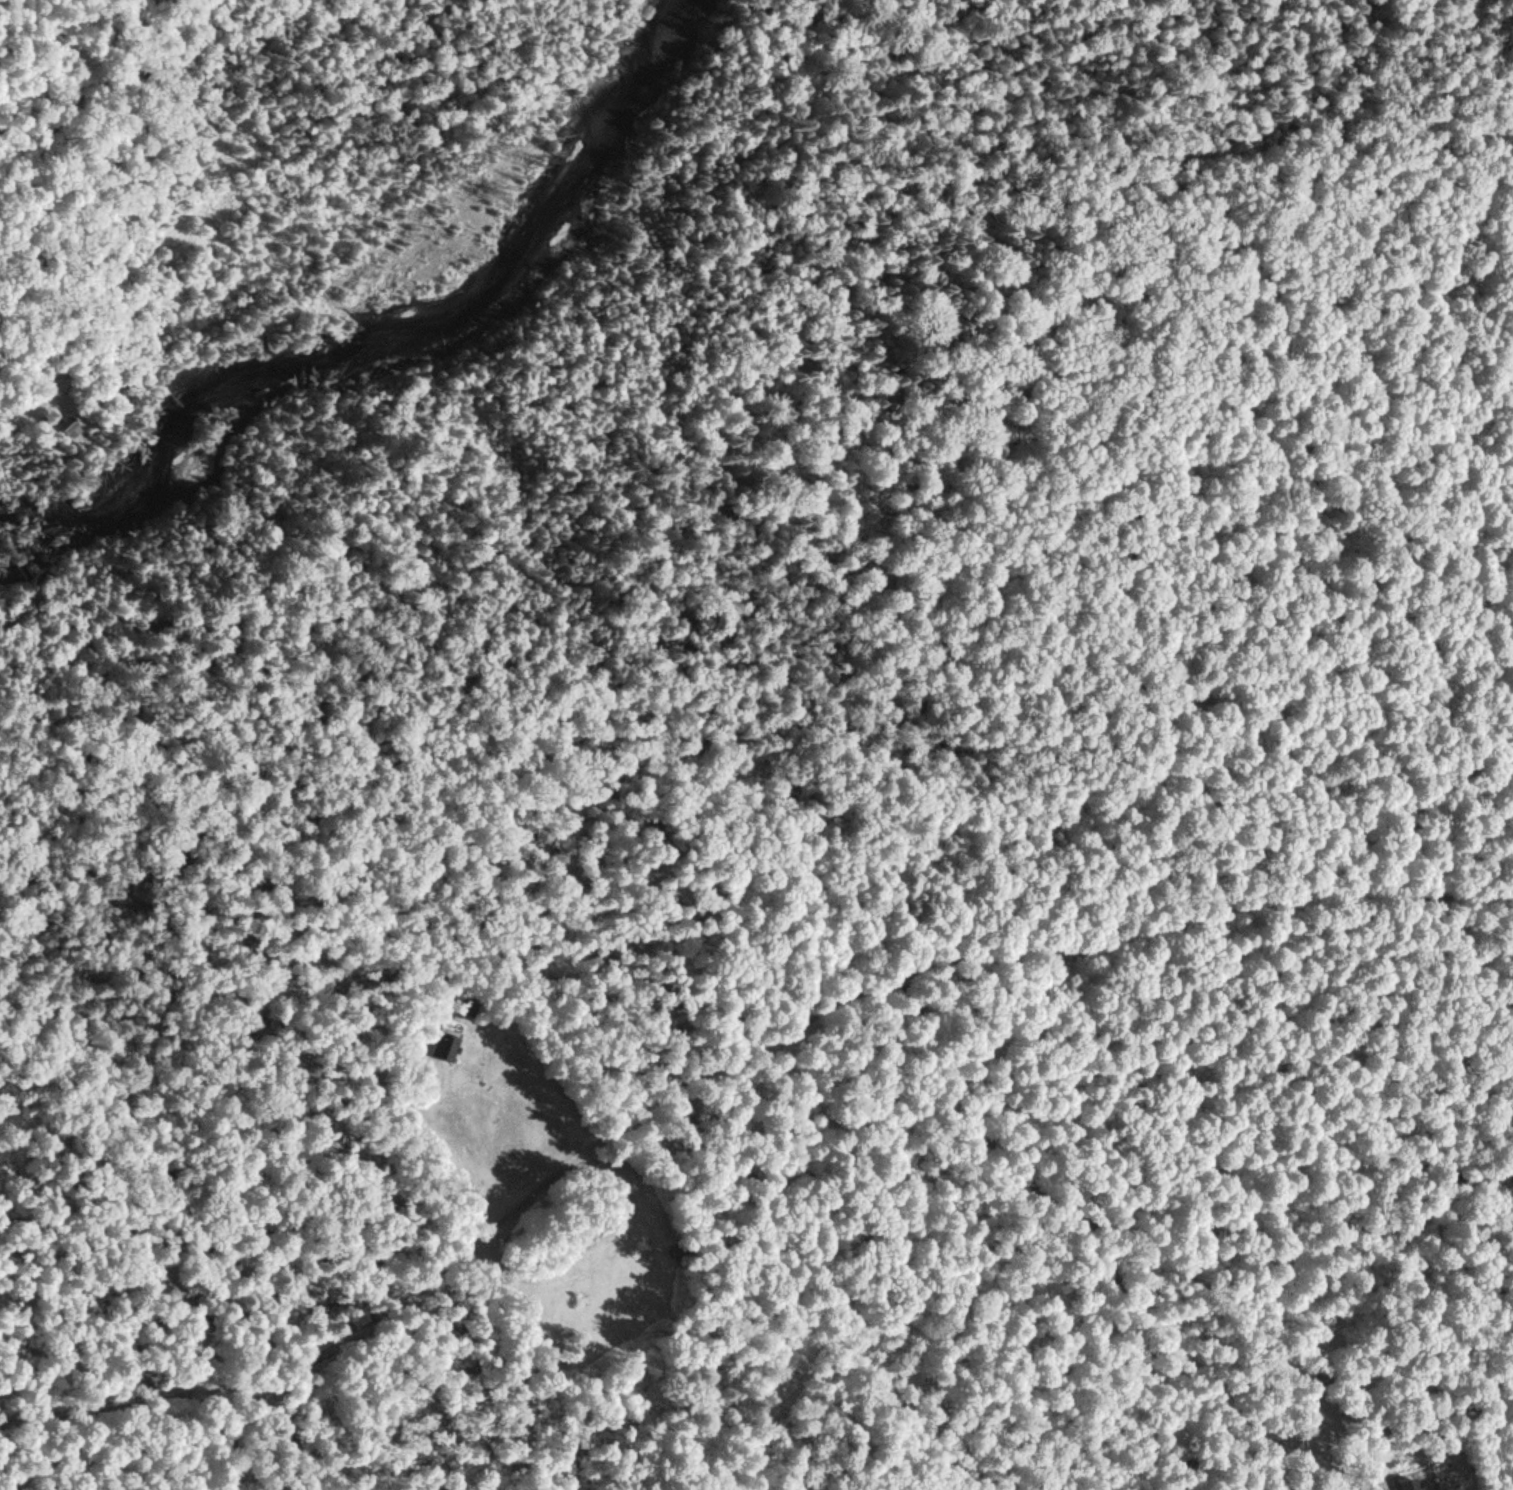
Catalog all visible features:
river: (393, 338)
building: (67, 423)
road: (1084, 942)
building: (444, 1045)
road: (374, 1325)
building: (1408, 1484)

